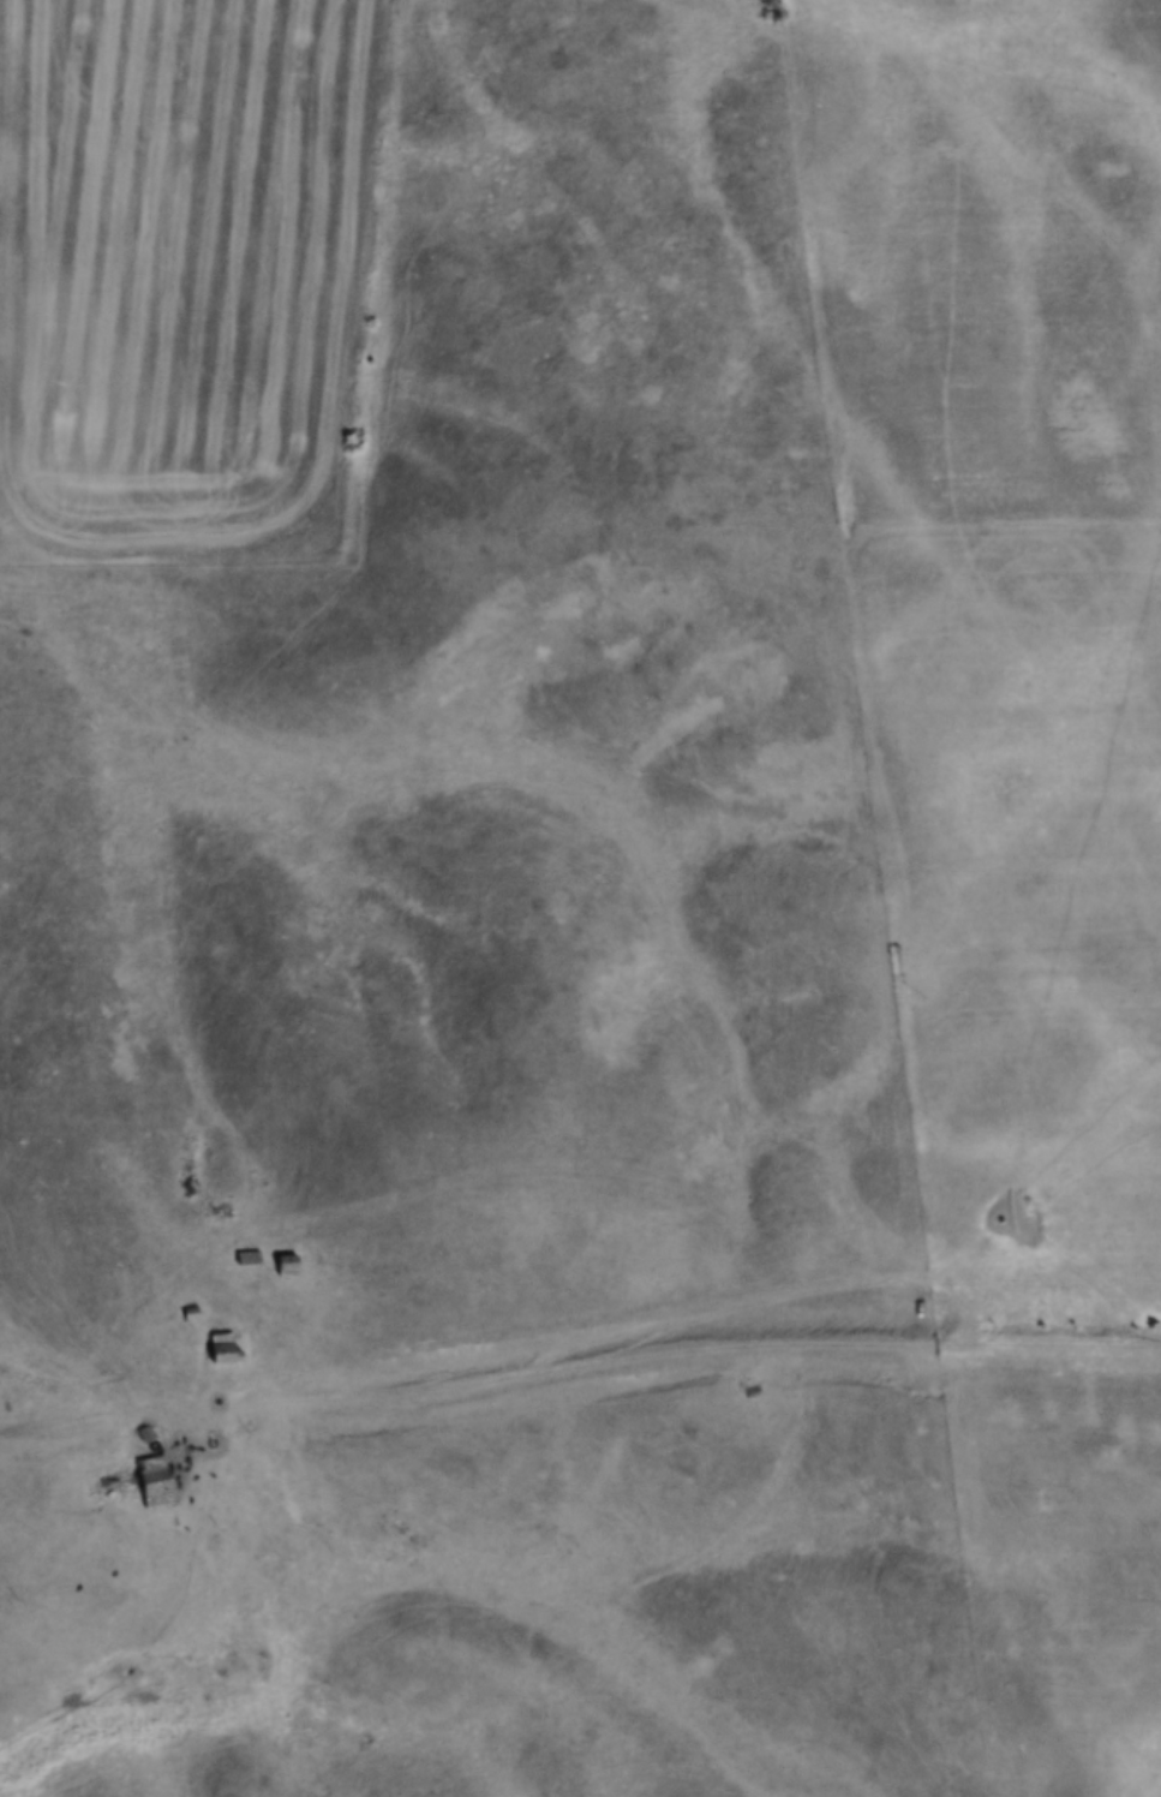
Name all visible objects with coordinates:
building: (249, 1259)
building: (287, 1266)
road: (686, 1347)
building: (747, 1379)
road: (106, 1413)
building: (131, 1482)

